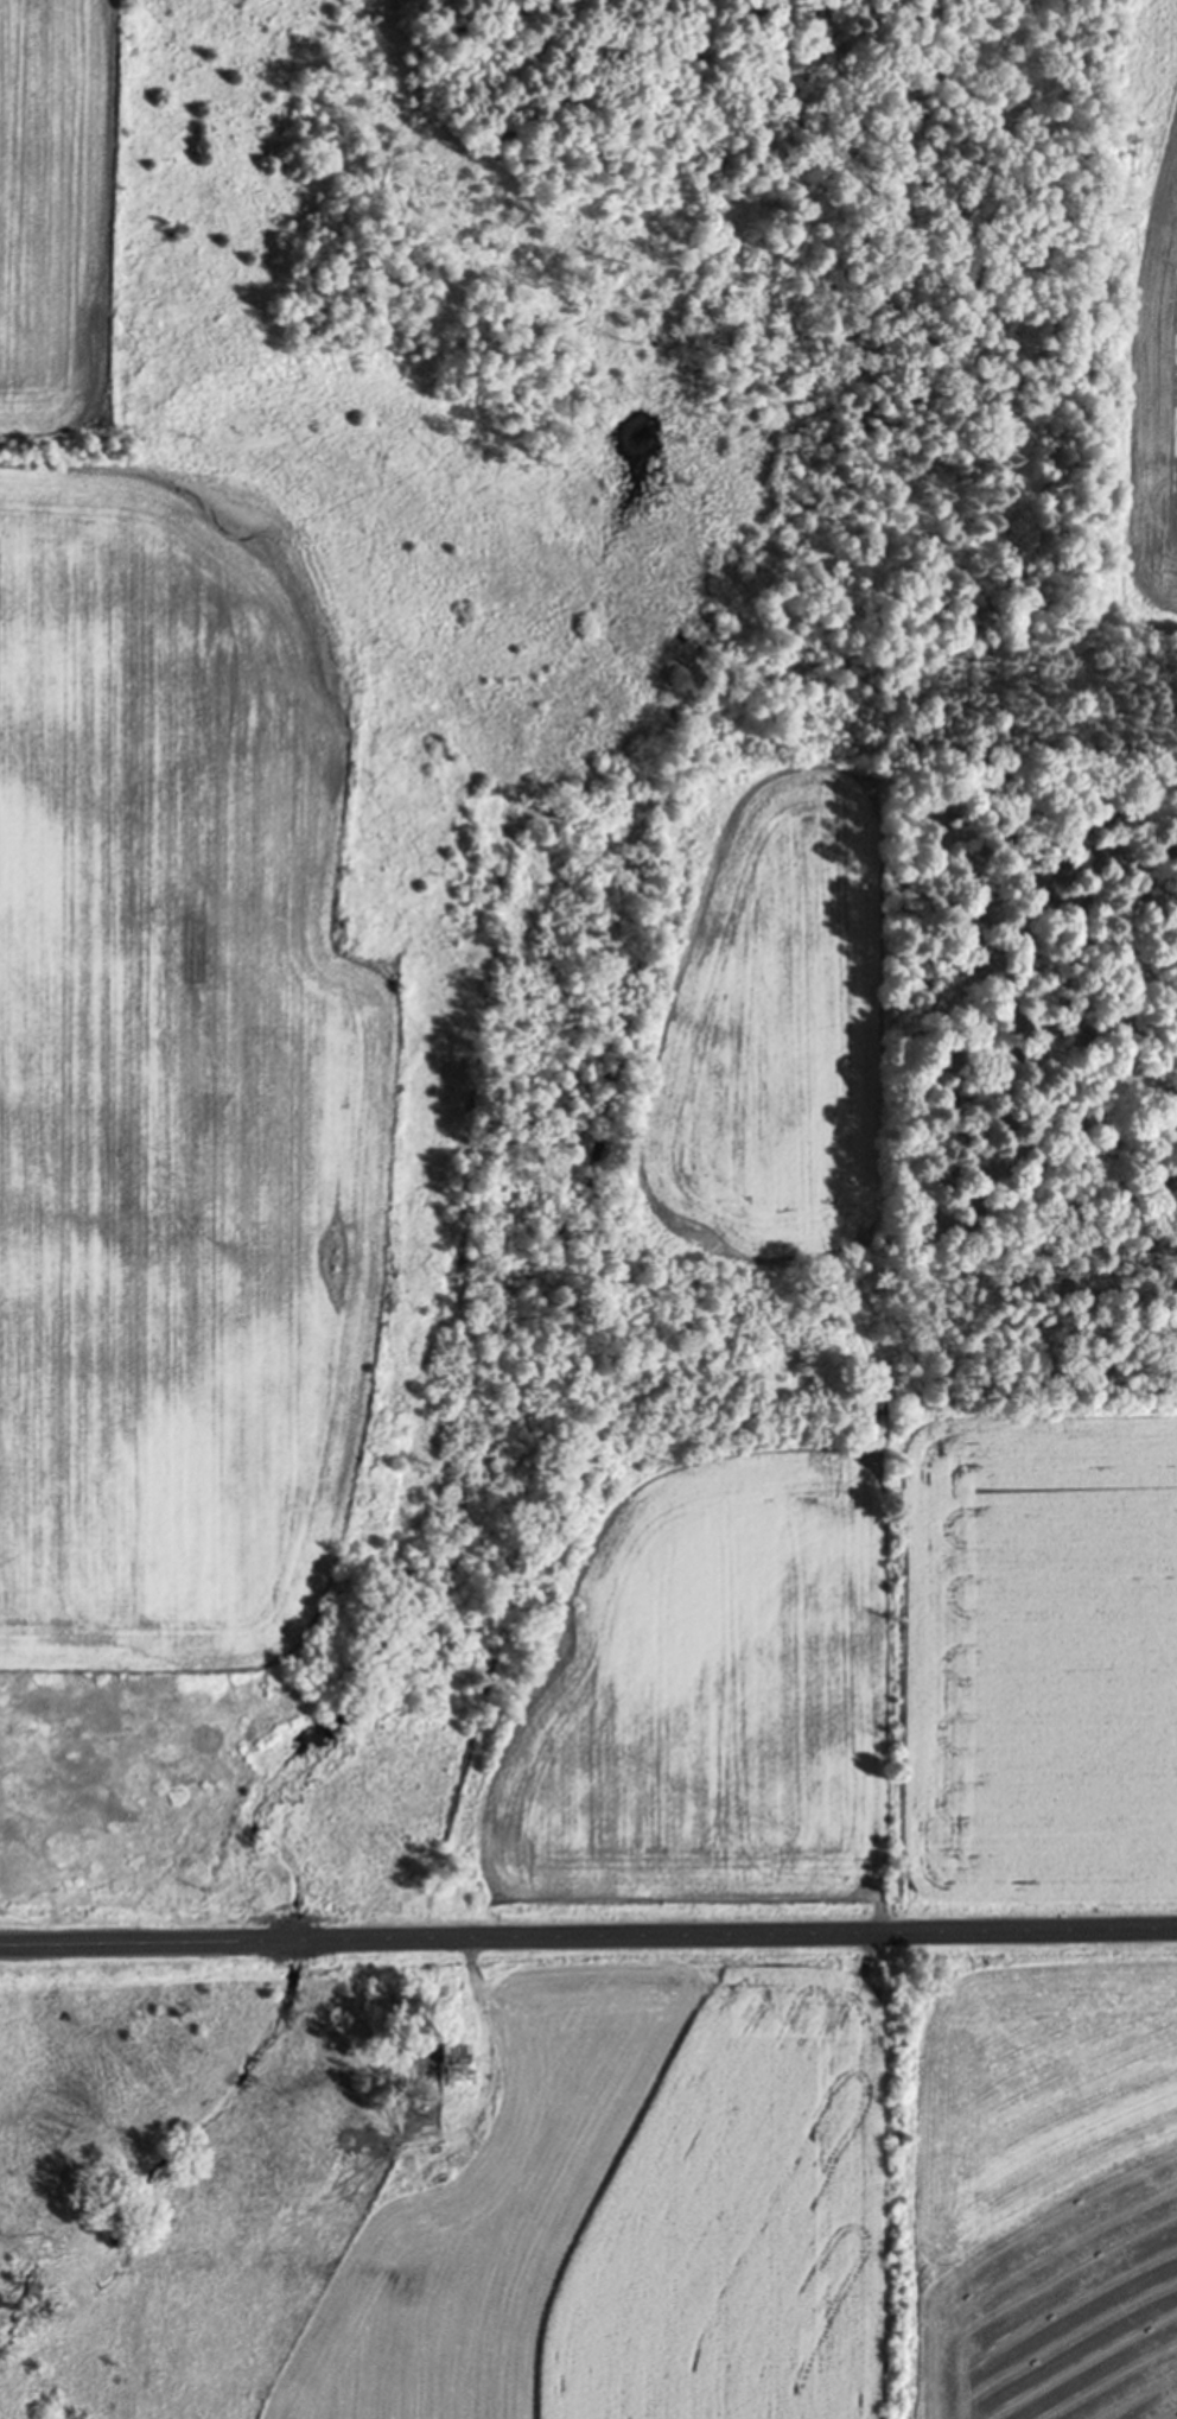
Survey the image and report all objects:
road: (588, 1936)

